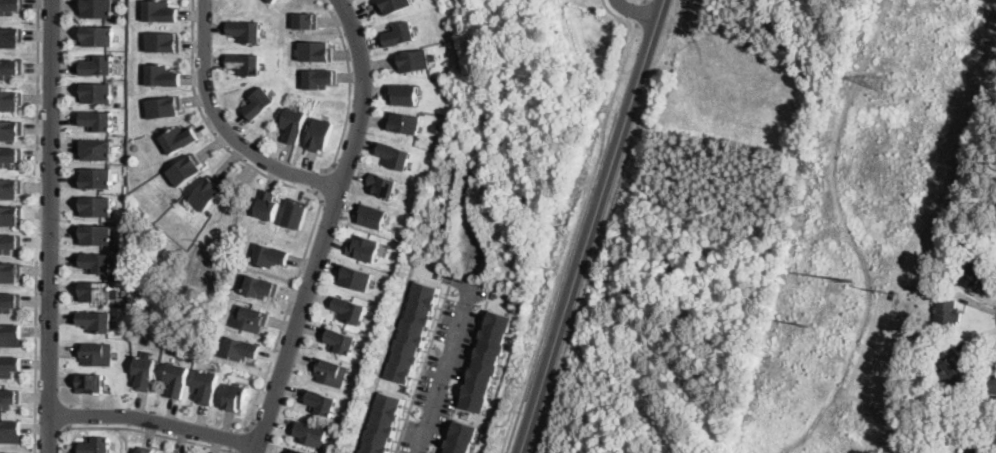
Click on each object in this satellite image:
building: (272, 0)
road: (645, 0)
building: (394, 5)
building: (9, 6)
building: (97, 7)
building: (160, 10)
road: (636, 11)
road: (640, 11)
building: (306, 19)
building: (245, 29)
road: (626, 29)
building: (400, 33)
building: (98, 35)
building: (10, 36)
building: (164, 41)
building: (315, 50)
building: (415, 59)
building: (244, 62)
building: (98, 64)
building: (9, 68)
building: (162, 74)
building: (319, 77)
power tower: (875, 81)
road: (350, 88)
building: (95, 92)
building: (405, 94)
building: (9, 101)
building: (259, 101)
building: (164, 105)
building: (95, 120)
building: (405, 121)
building: (293, 123)
road: (223, 126)
building: (436, 127)
building: (9, 130)
building: (319, 134)
building: (178, 137)
building: (96, 149)
building: (394, 154)
building: (8, 156)
building: (185, 168)
building: (95, 179)
road: (320, 183)
building: (383, 183)
building: (9, 189)
road: (313, 190)
building: (206, 191)
building: (96, 204)
building: (265, 204)
building: (295, 211)
building: (372, 215)
building: (9, 216)
road: (36, 226)
road: (49, 226)
road: (593, 226)
road: (326, 227)
building: (94, 235)
road: (574, 237)
building: (8, 243)
building: (363, 247)
building: (270, 253)
building: (94, 262)
building: (947, 269)
building: (974, 271)
building: (8, 272)
building: (355, 277)
power tower: (851, 279)
building: (259, 286)
power tower: (889, 290)
building: (94, 291)
building: (124, 291)
building: (8, 301)
building: (350, 310)
building: (946, 314)
building: (249, 318)
building: (94, 321)
building: (410, 331)
building: (10, 335)
building: (340, 341)
building: (240, 349)
building: (94, 353)
building: (485, 358)
parking lot: (443, 364)
building: (9, 365)
road: (444, 367)
building: (955, 367)
road: (421, 368)
building: (330, 371)
building: (142, 372)
road: (463, 375)
building: (175, 379)
building: (91, 383)
building: (992, 384)
building: (205, 387)
building: (234, 397)
building: (8, 398)
building: (320, 402)
road: (154, 421)
building: (382, 422)
road: (146, 431)
building: (10, 432)
building: (311, 433)
building: (460, 437)
road: (243, 440)
building: (94, 445)
building: (144, 450)
building: (294, 450)
building: (977, 450)
building: (8, 452)
building: (172, 452)

